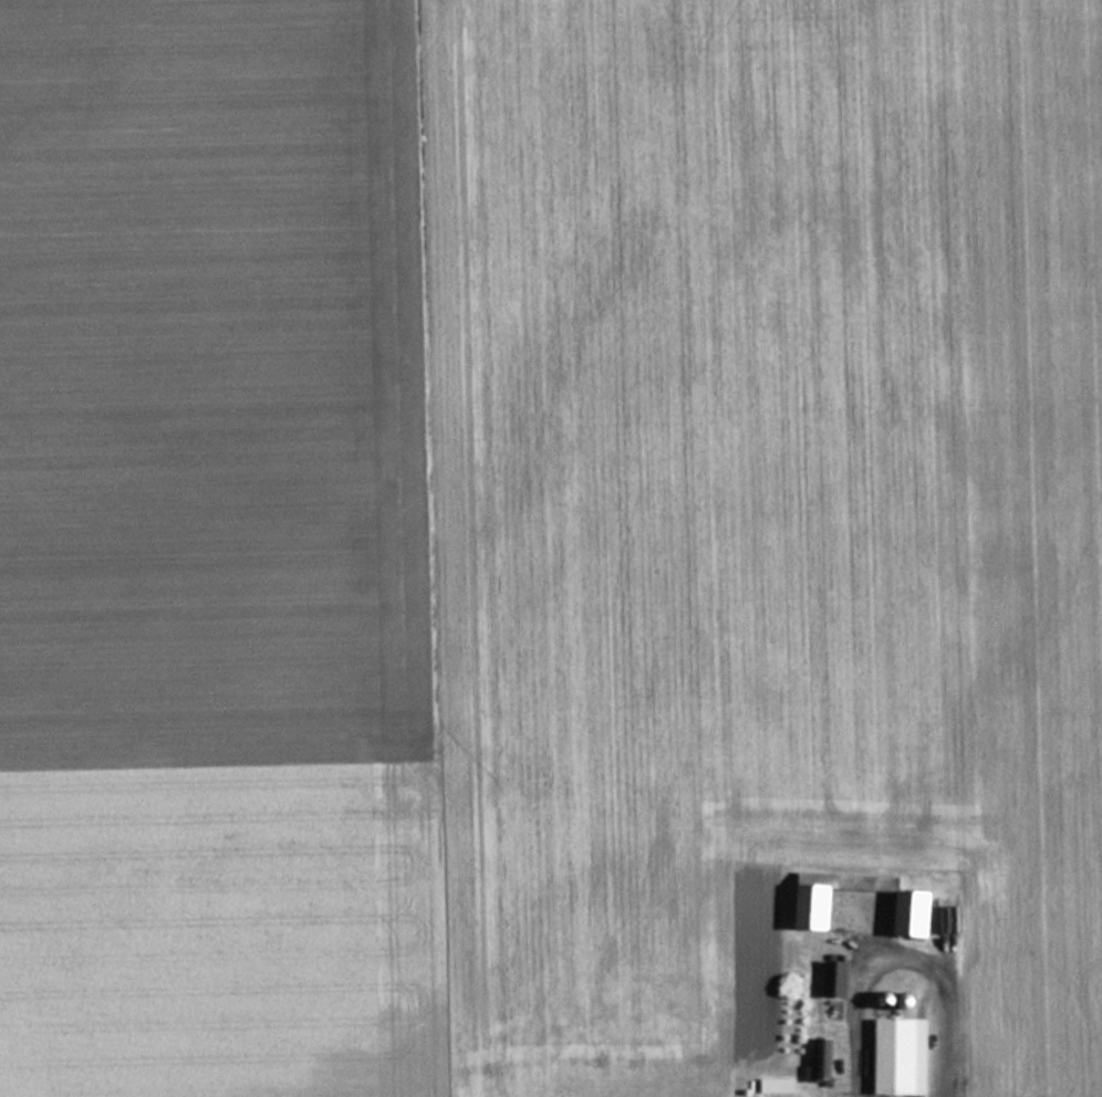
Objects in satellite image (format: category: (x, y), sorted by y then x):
building: (820, 908)
building: (839, 978)
building: (895, 1000)
building: (900, 1055)
building: (825, 1063)
building: (780, 1085)

